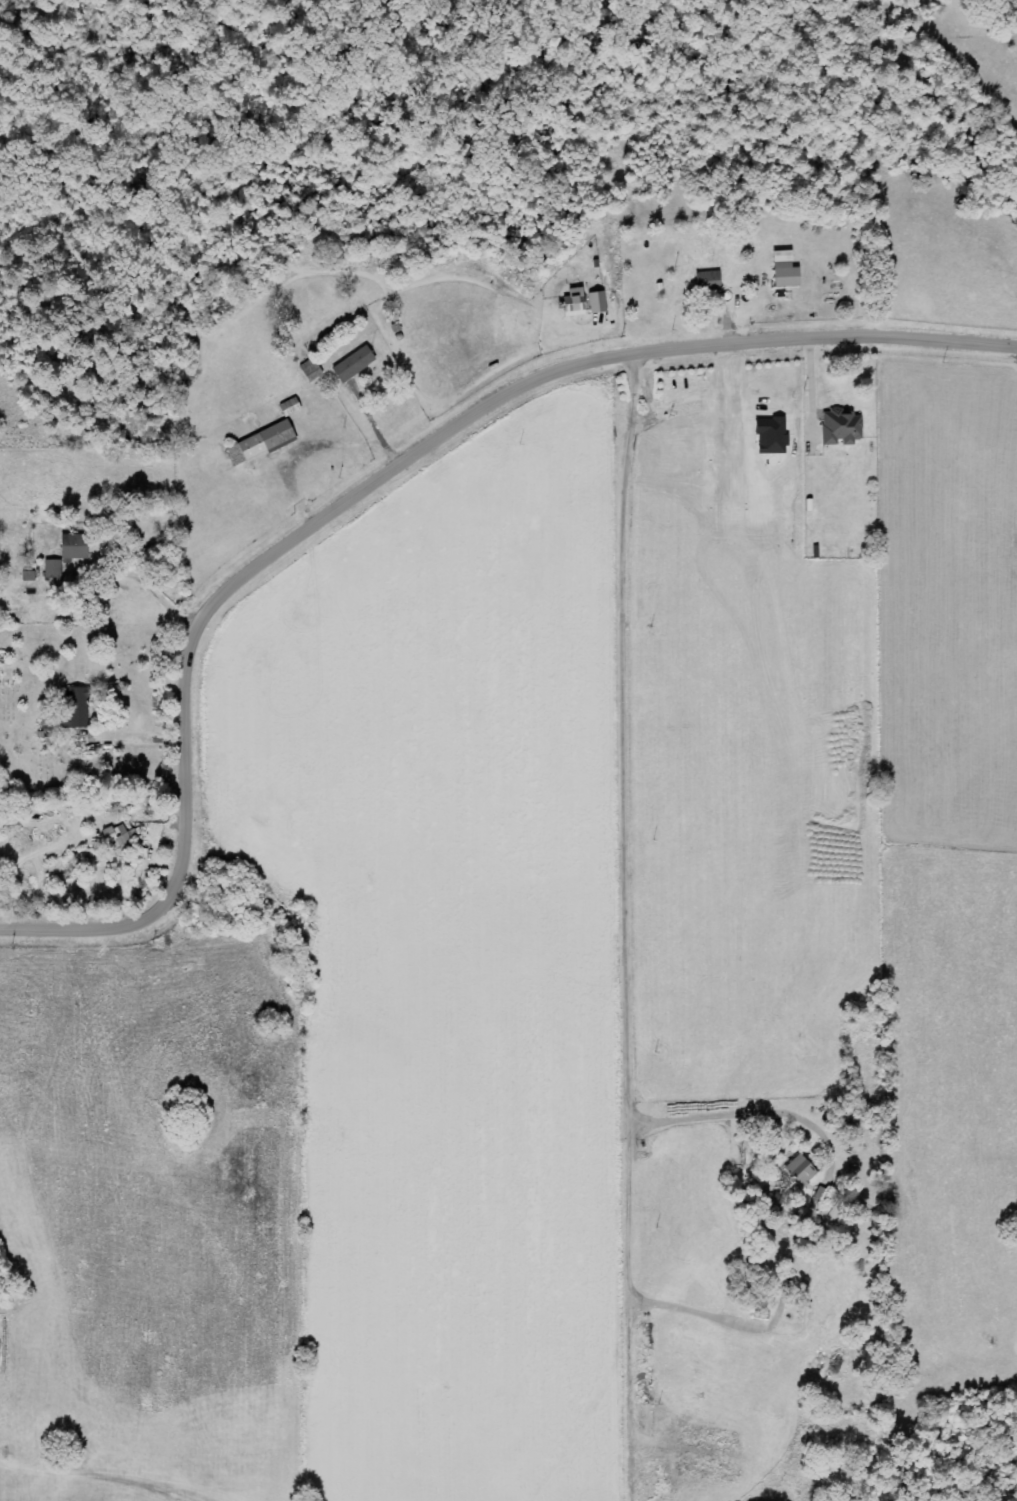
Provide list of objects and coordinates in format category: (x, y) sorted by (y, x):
building: (786, 270)
building: (708, 280)
building: (574, 302)
building: (597, 303)
building: (354, 364)
building: (842, 427)
building: (261, 442)
road: (371, 489)
building: (76, 546)
building: (56, 567)
building: (77, 708)
building: (120, 837)
building: (801, 1170)

